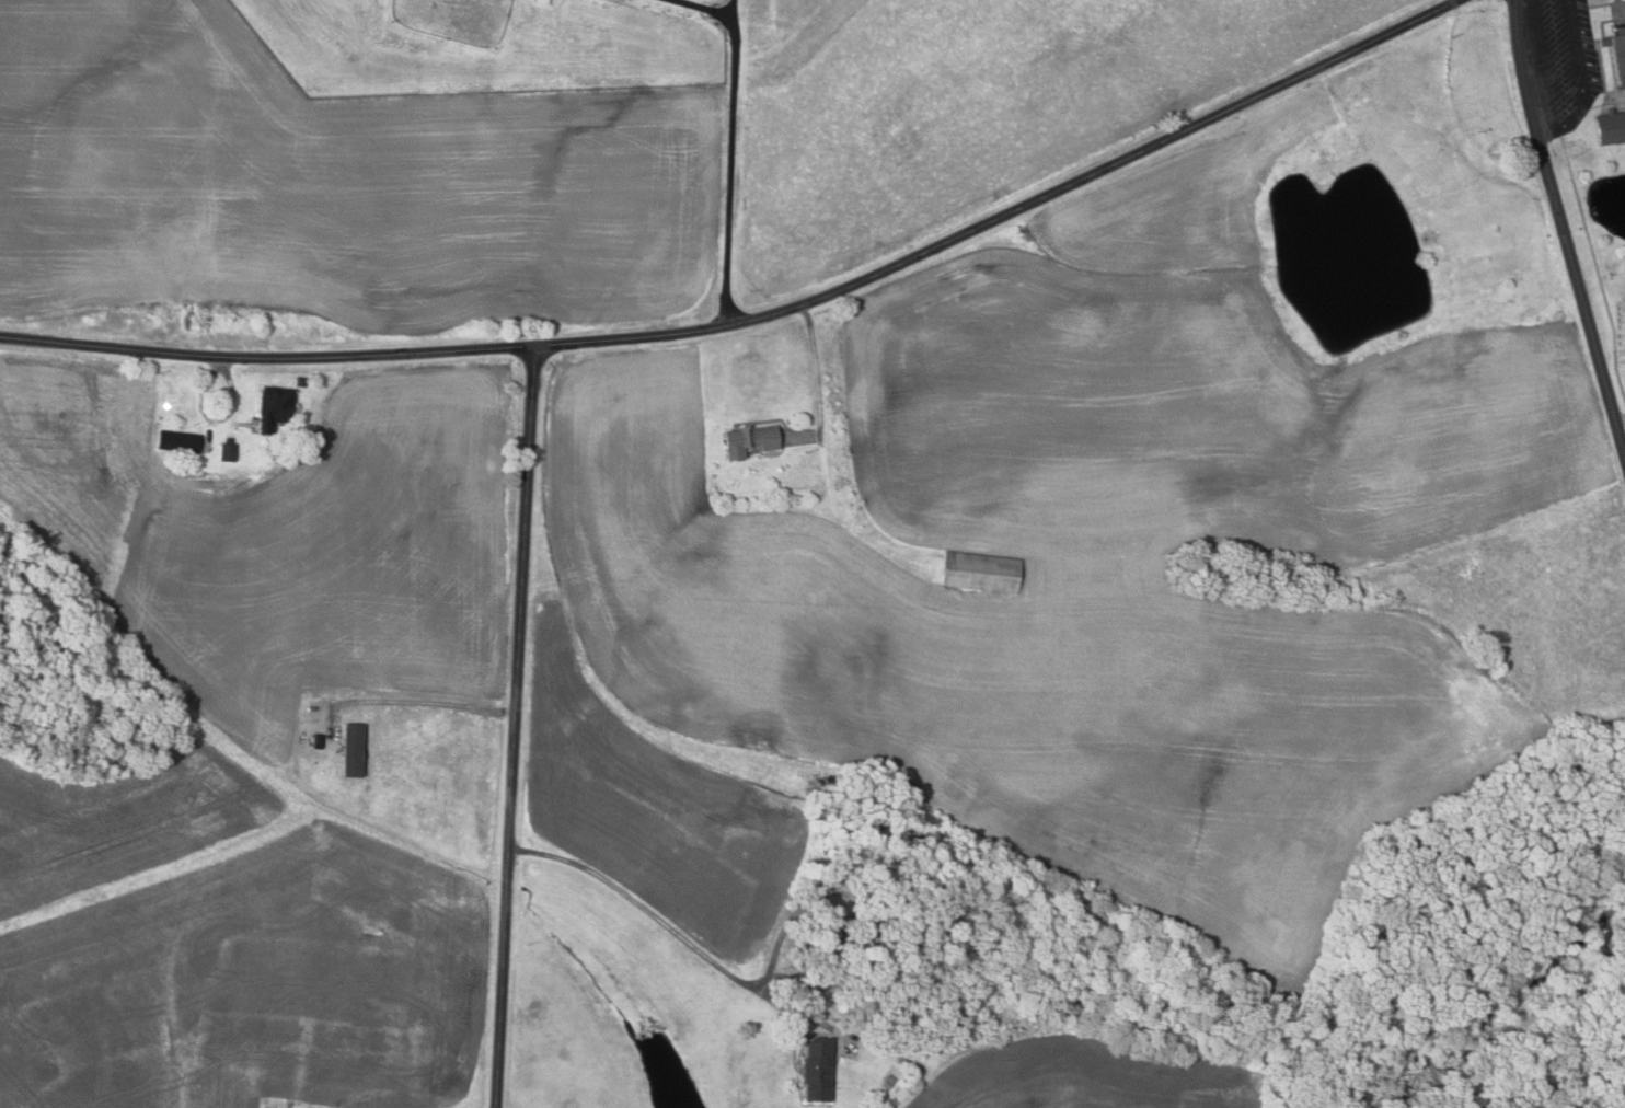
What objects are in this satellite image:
building: (543, 1)
road: (708, 9)
road: (735, 13)
building: (1617, 54)
road: (1583, 82)
building: (1612, 126)
road: (728, 176)
crop: (335, 185)
road: (1561, 229)
park: (1614, 308)
road: (763, 319)
road: (816, 365)
building: (301, 381)
building: (275, 407)
road: (1620, 419)
road: (212, 422)
building: (180, 440)
building: (752, 440)
building: (229, 450)
crop: (276, 538)
crop: (1117, 539)
building: (983, 573)
road: (443, 702)
road: (516, 727)
building: (355, 750)
road: (854, 899)
road: (639, 903)
building: (878, 932)
building: (832, 942)
crop: (227, 948)
road: (802, 1012)
building: (977, 1030)
building: (820, 1070)
crop: (1093, 1076)
building: (889, 1082)
building: (879, 1097)

